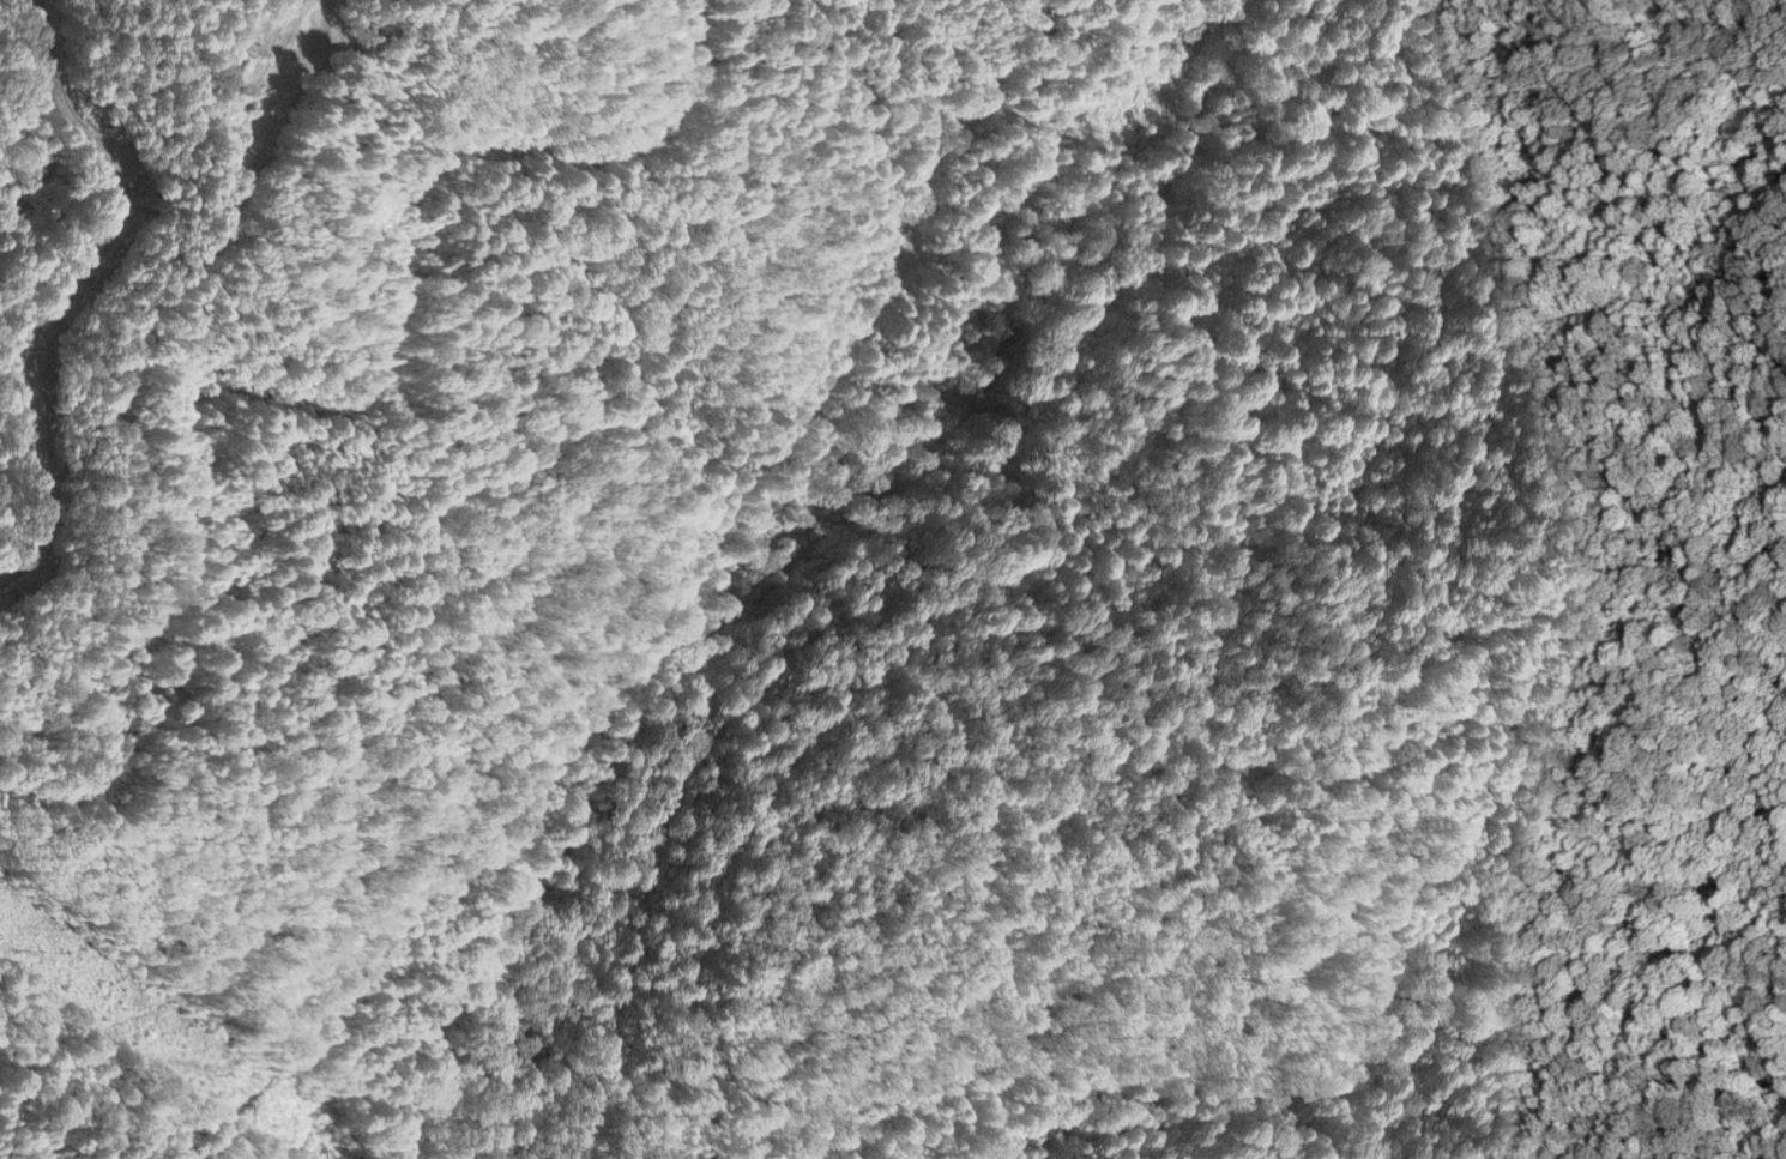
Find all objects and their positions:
road: (73, 278)

